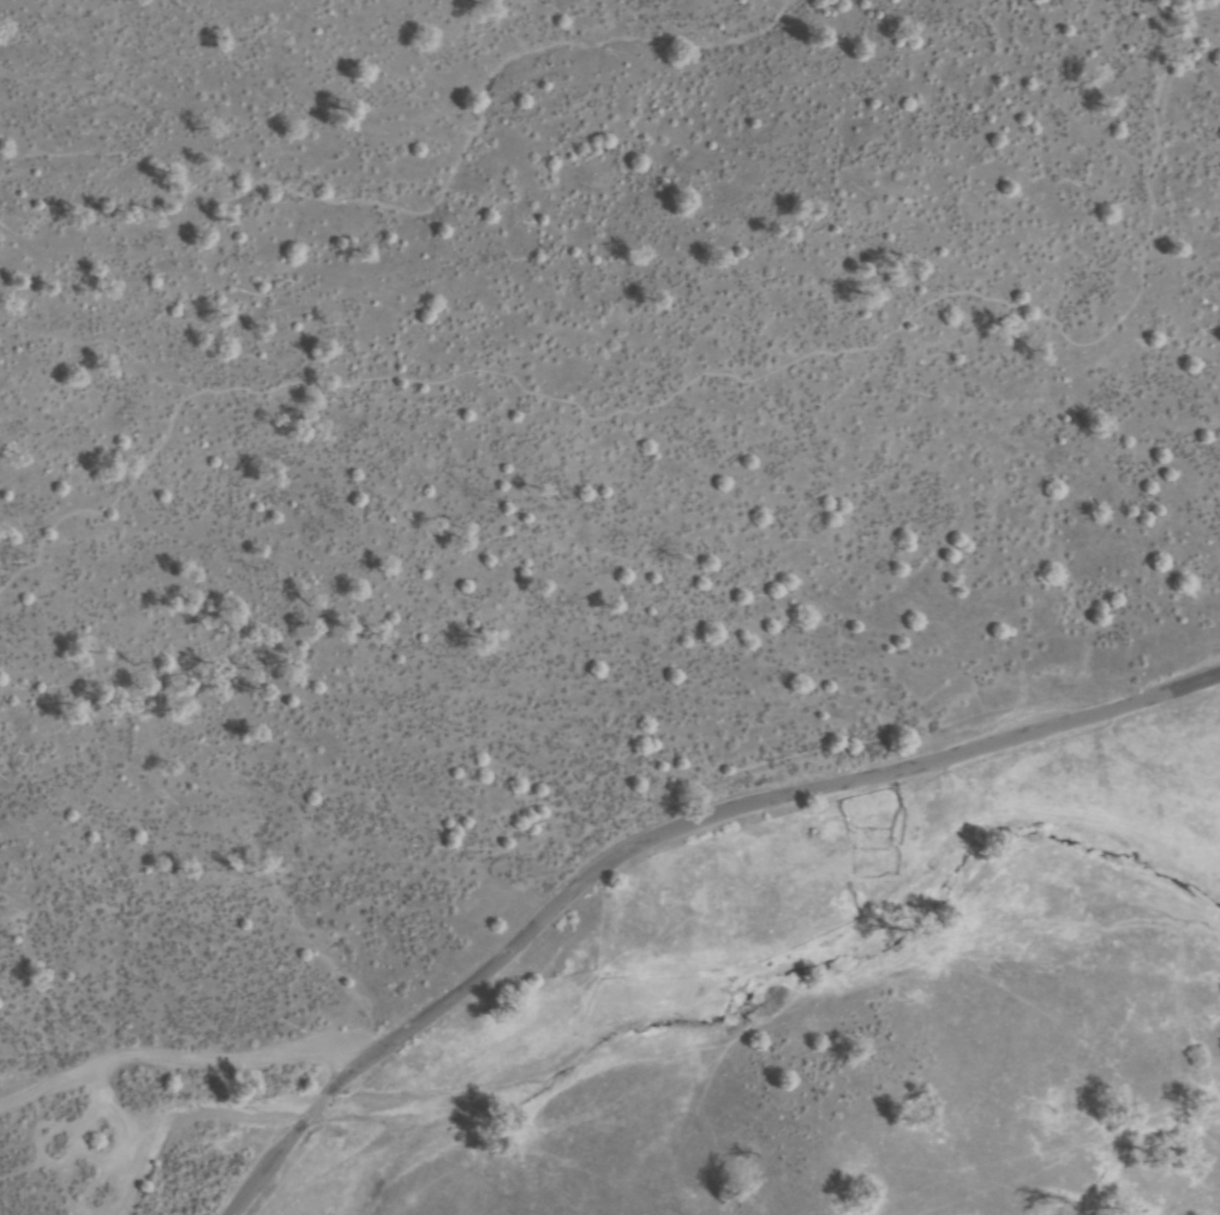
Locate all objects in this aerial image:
road: (686, 382)
road: (646, 820)
road: (165, 1057)

